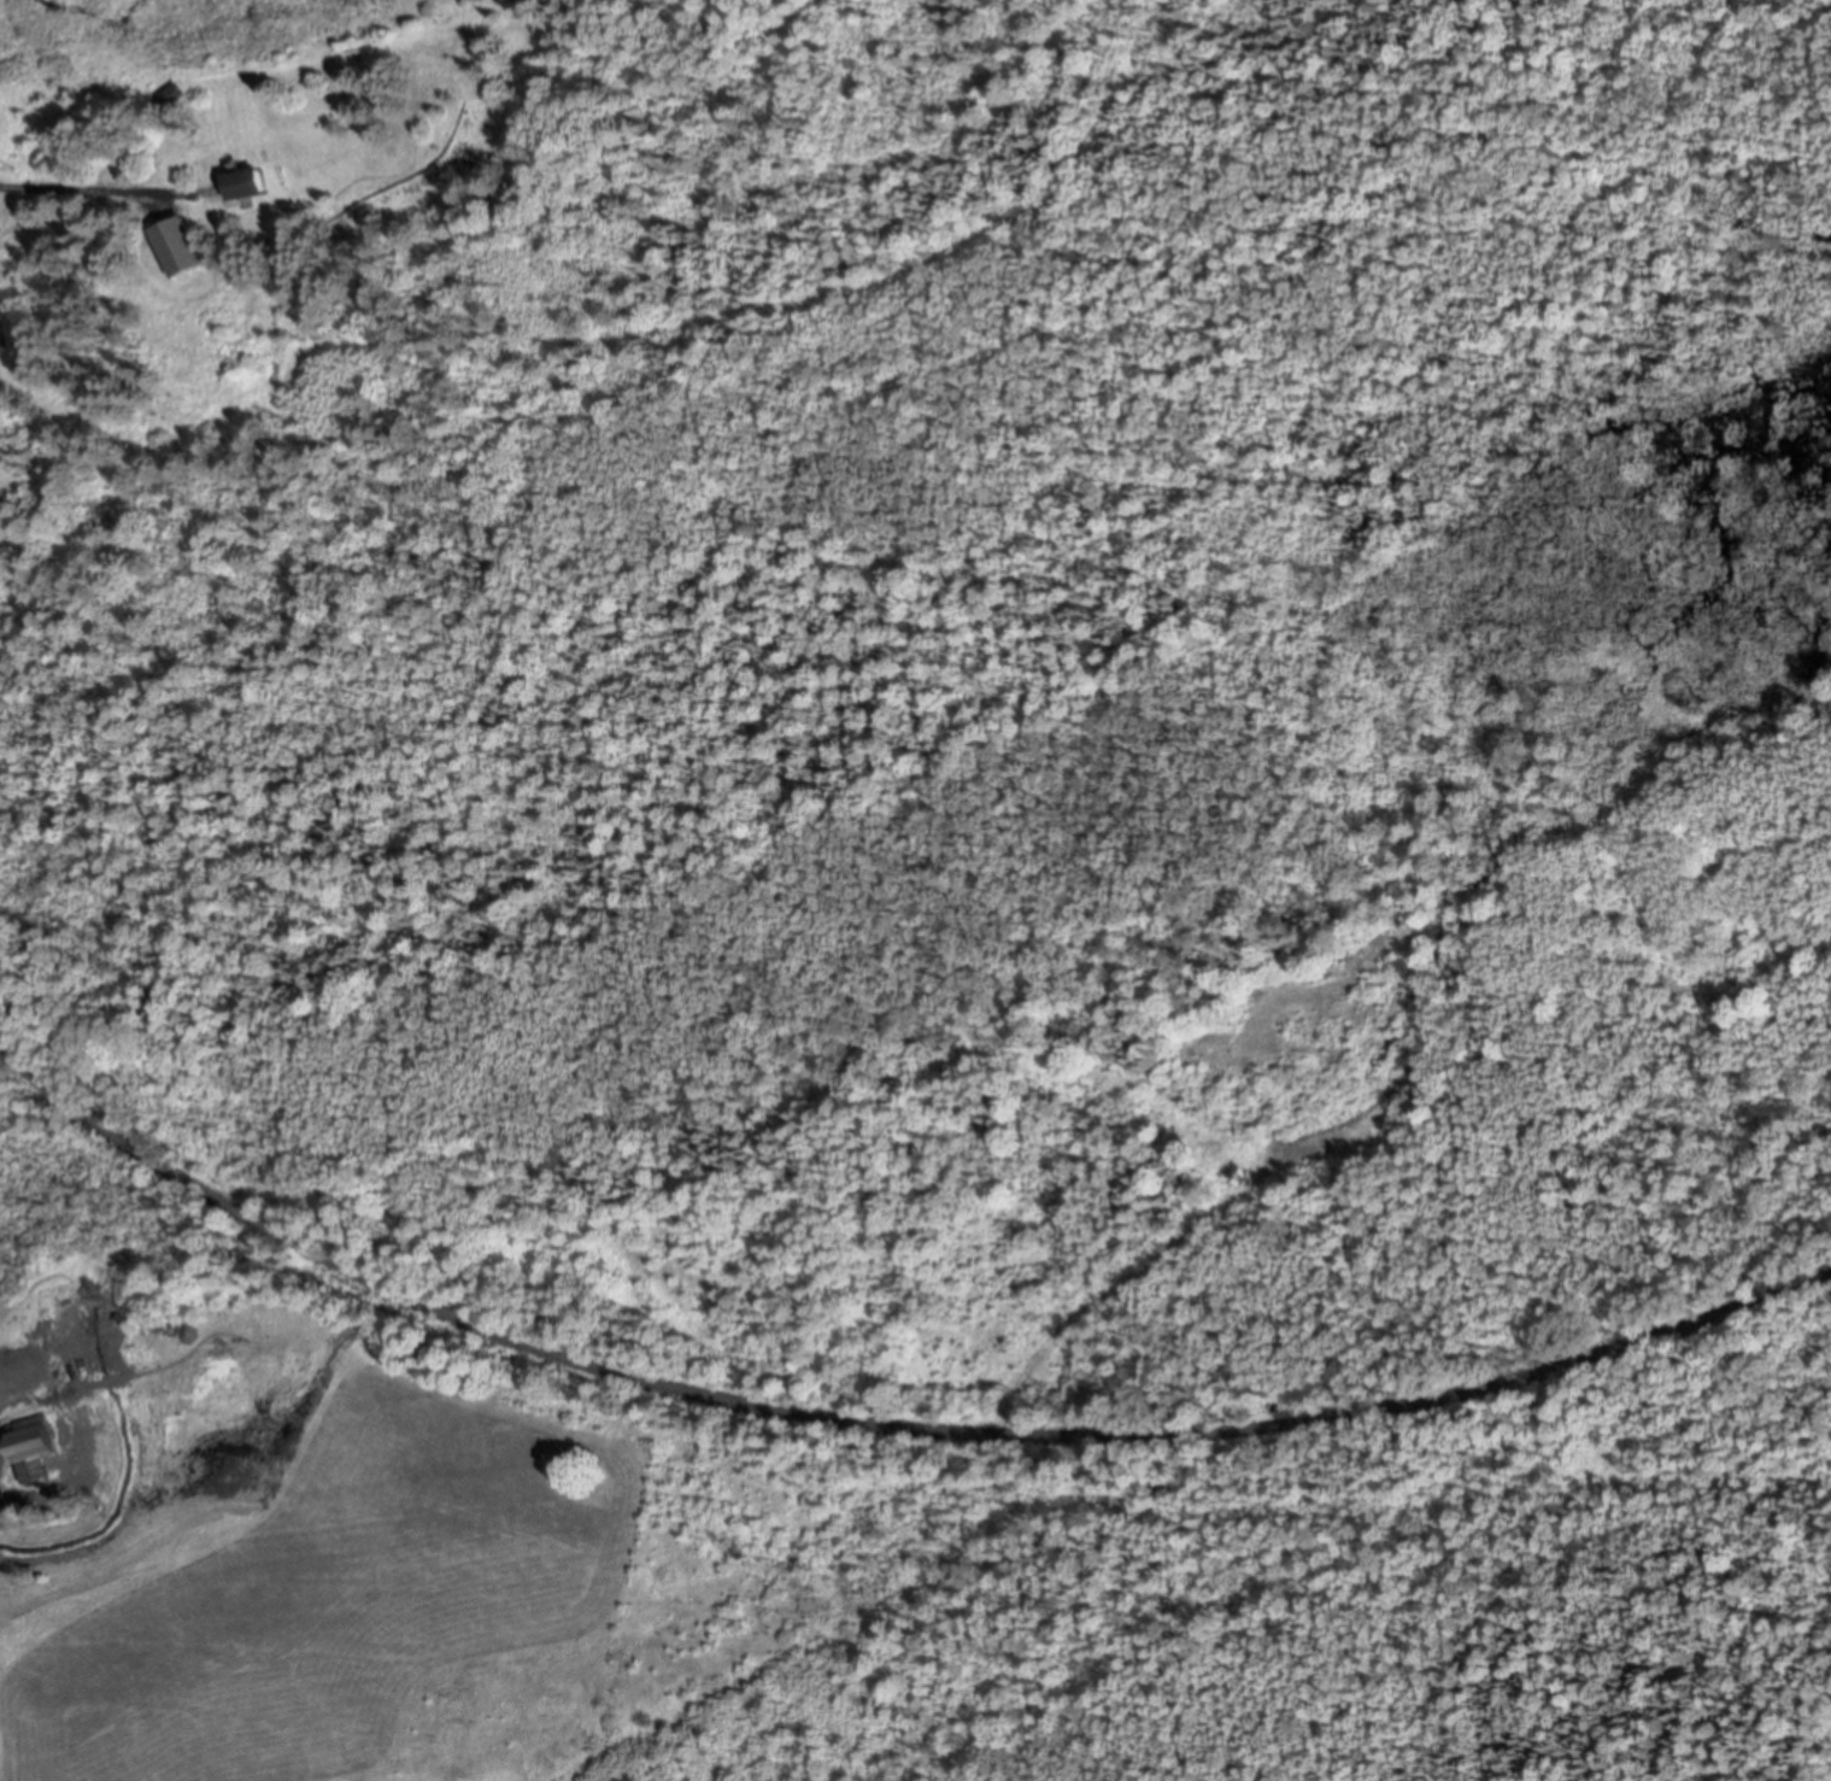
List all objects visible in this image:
building: (248, 187)
road: (11, 188)
building: (180, 250)
building: (1, 341)
building: (8, 1396)
road: (880, 1424)
building: (35, 1451)

